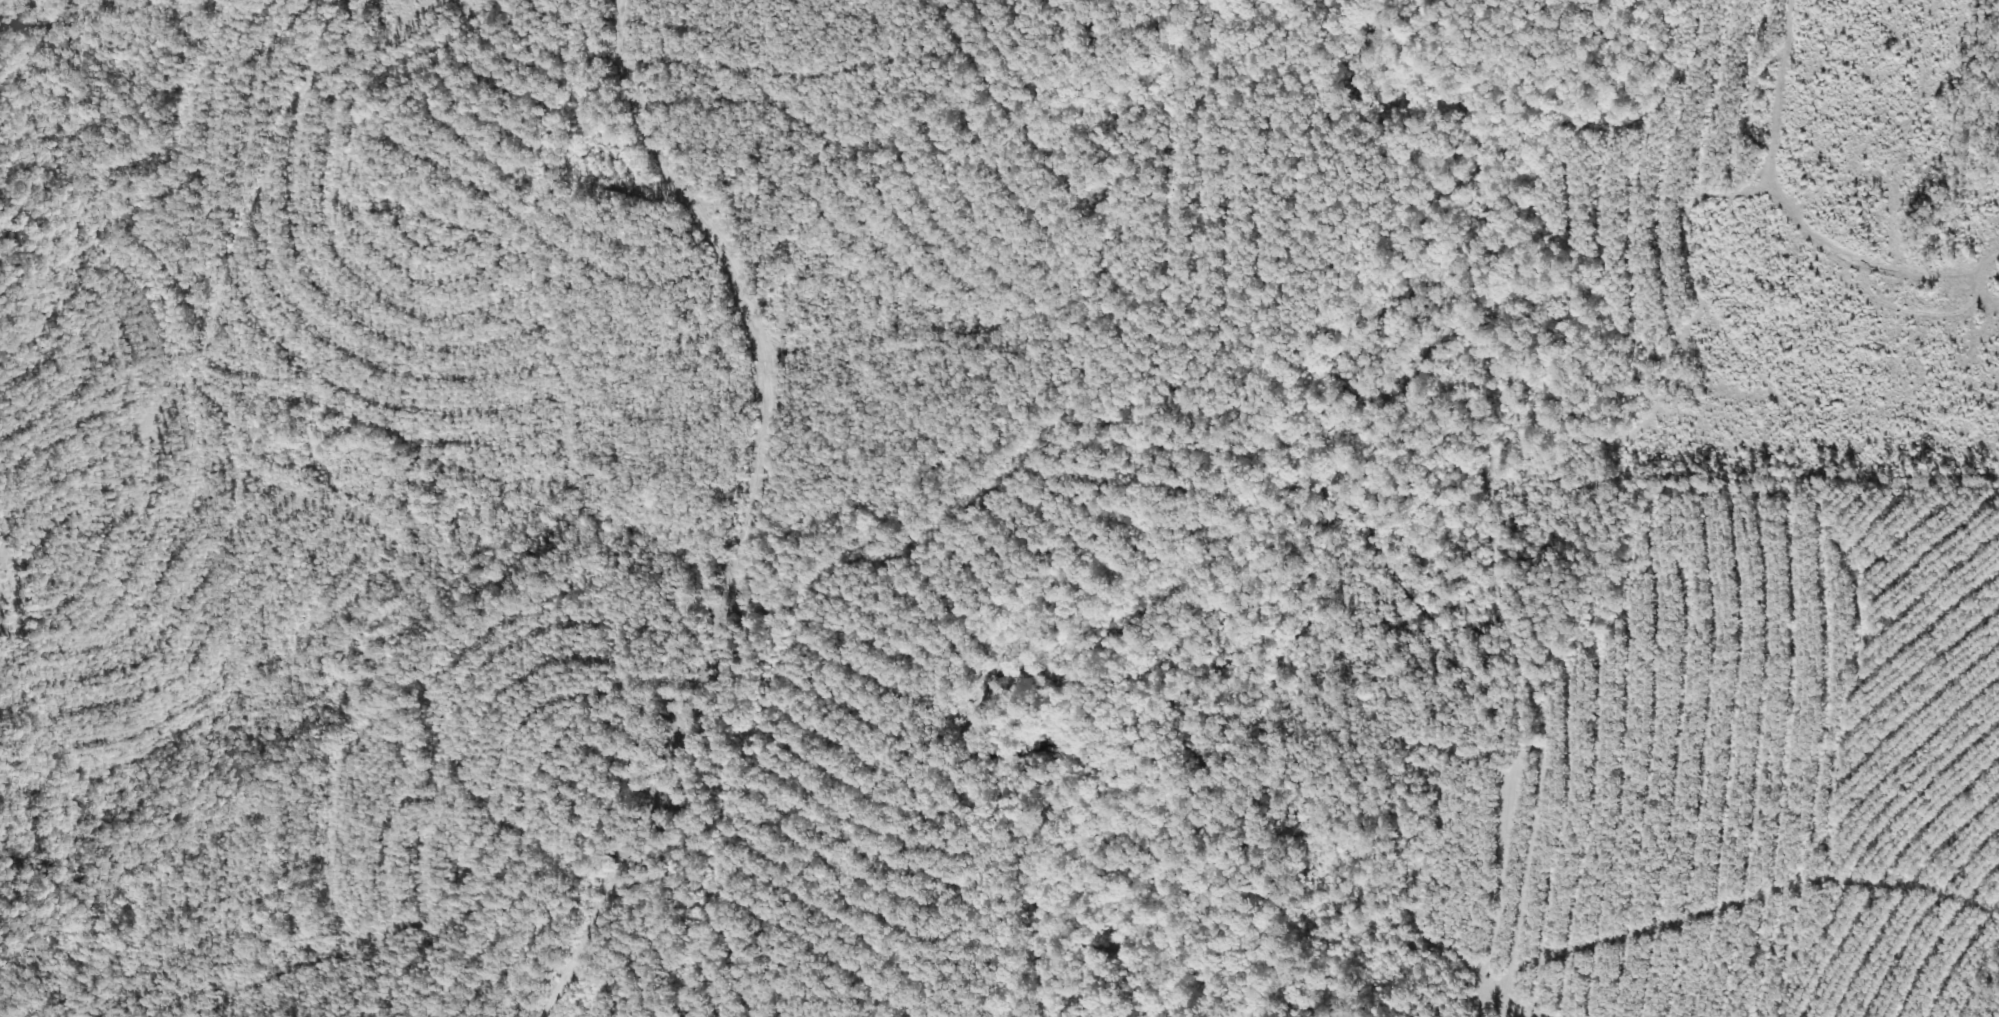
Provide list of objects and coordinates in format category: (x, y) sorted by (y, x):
road: (698, 517)

